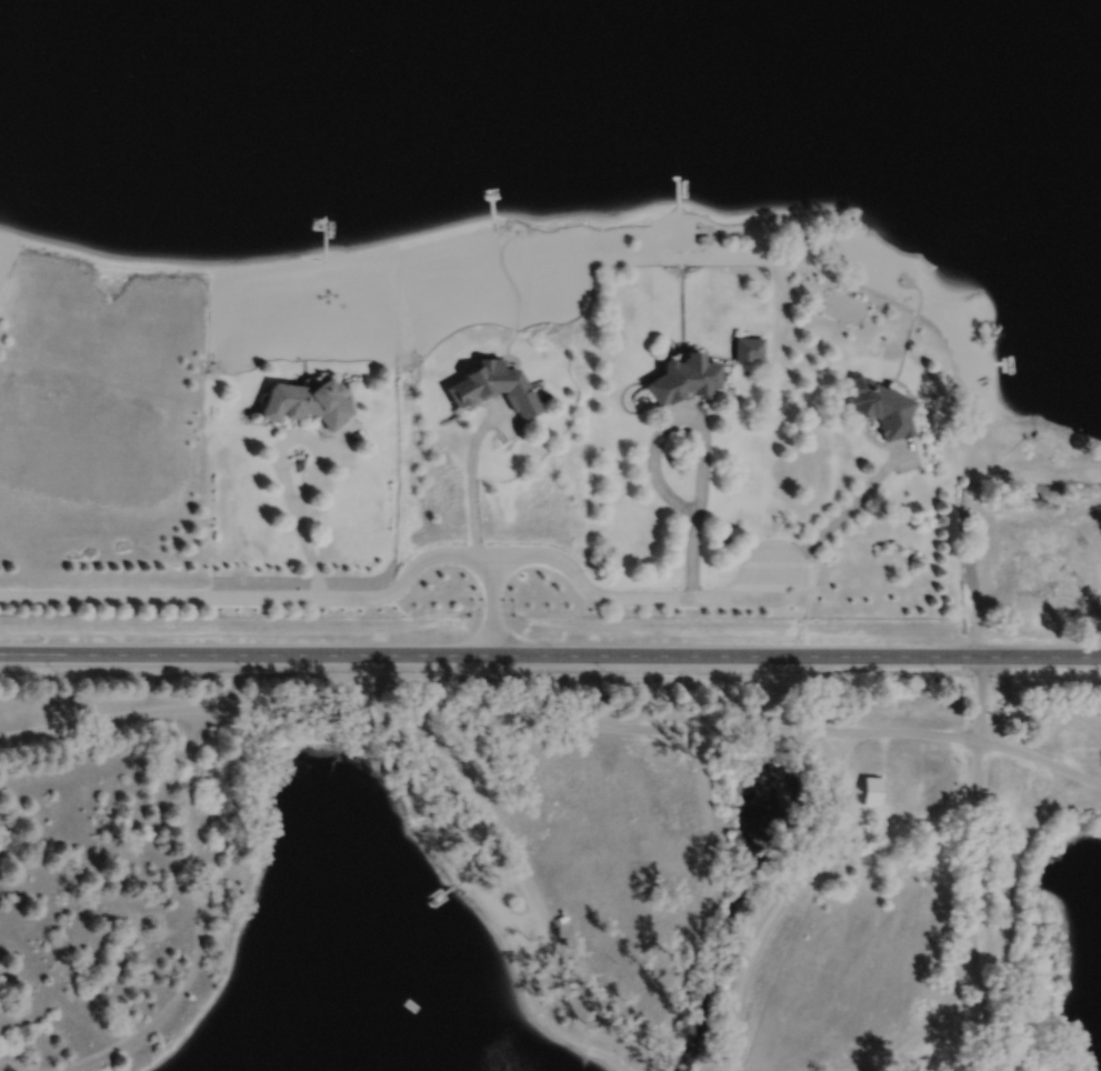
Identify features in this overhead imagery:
building: (747, 348)
building: (682, 379)
building: (493, 387)
building: (303, 403)
building: (879, 406)
road: (701, 430)
road: (339, 439)
road: (277, 463)
road: (469, 476)
road: (842, 513)
building: (1027, 563)
road: (253, 595)
road: (630, 597)
road: (492, 603)
road: (550, 653)
road: (433, 731)
road: (1039, 757)
building: (869, 788)
road: (815, 848)
road: (971, 880)
road: (705, 907)
road: (544, 912)
building: (561, 918)
road: (982, 1005)
road: (898, 1064)
road: (662, 1070)

